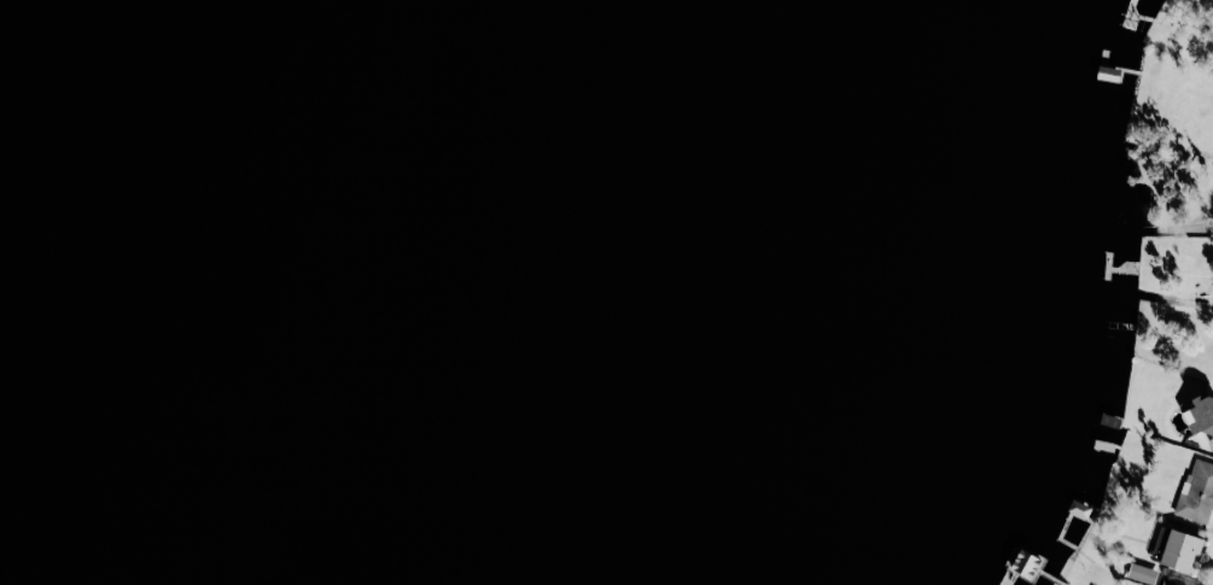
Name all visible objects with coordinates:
building: (1201, 414)
building: (1196, 491)
building: (1180, 550)

